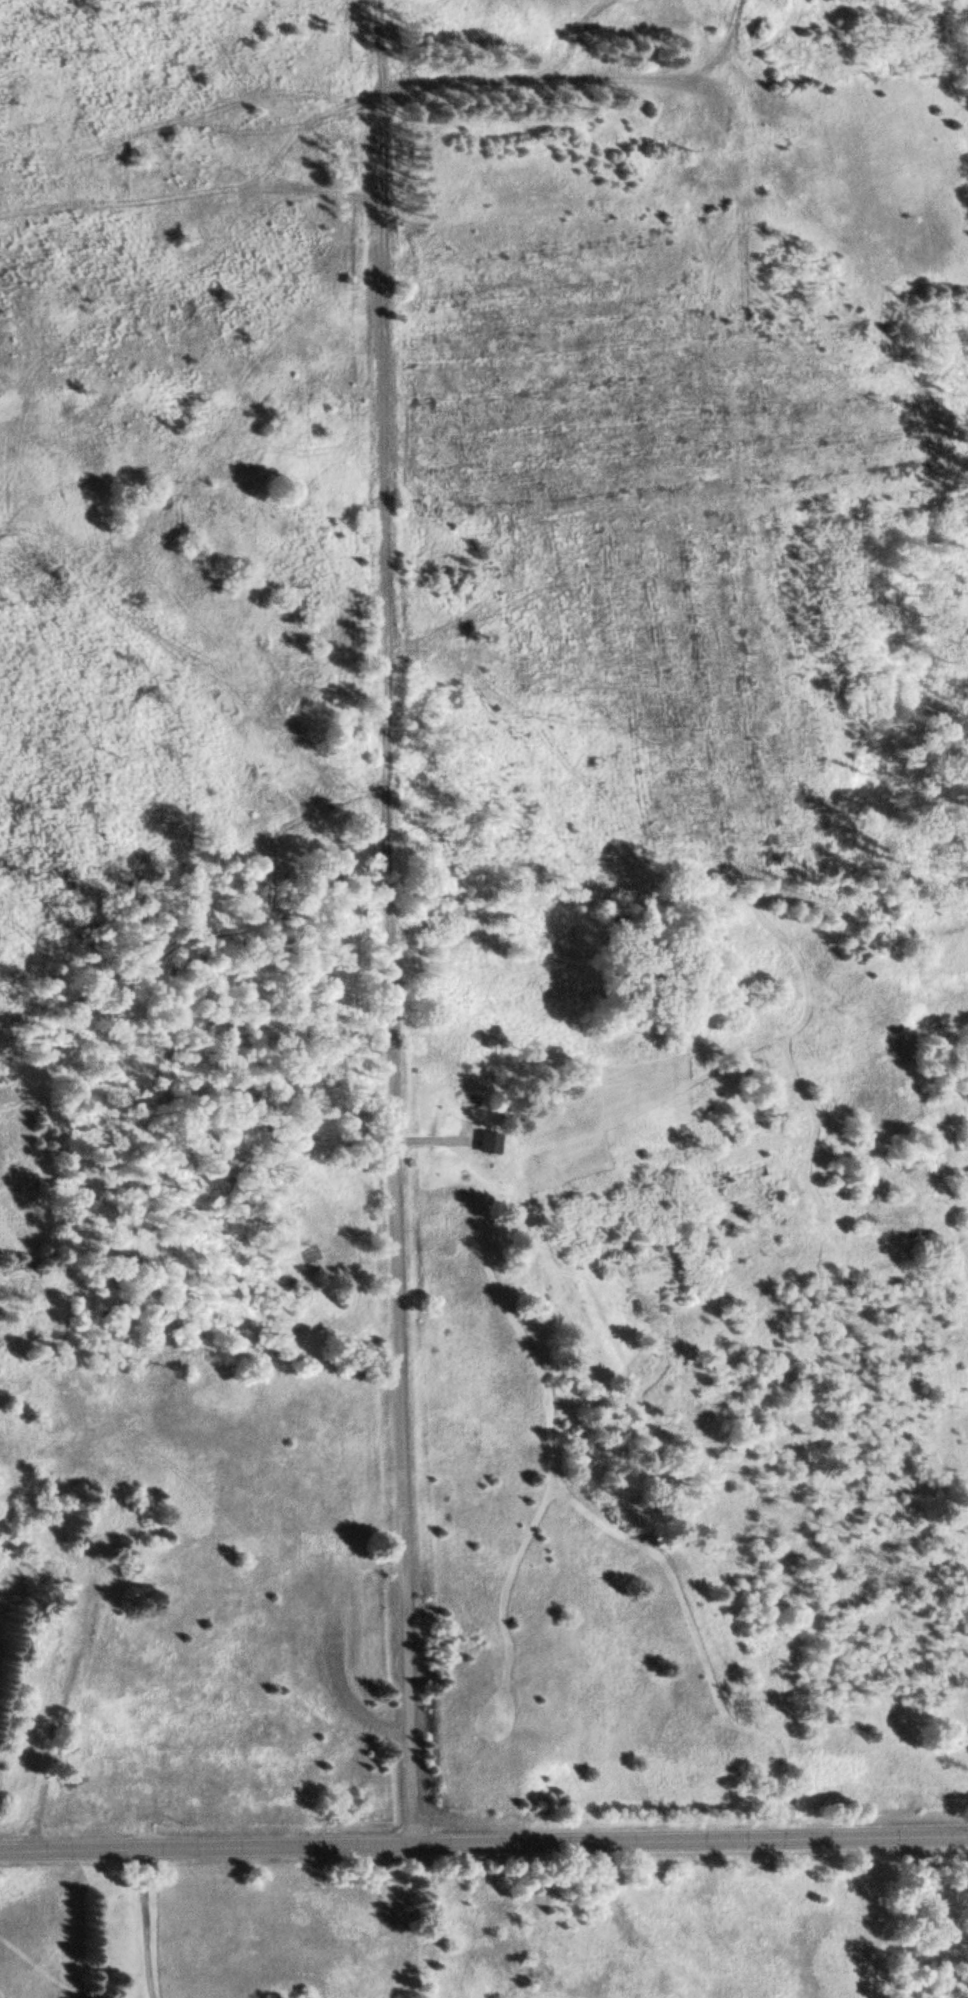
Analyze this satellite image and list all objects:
road: (392, 912)
road: (483, 1841)

